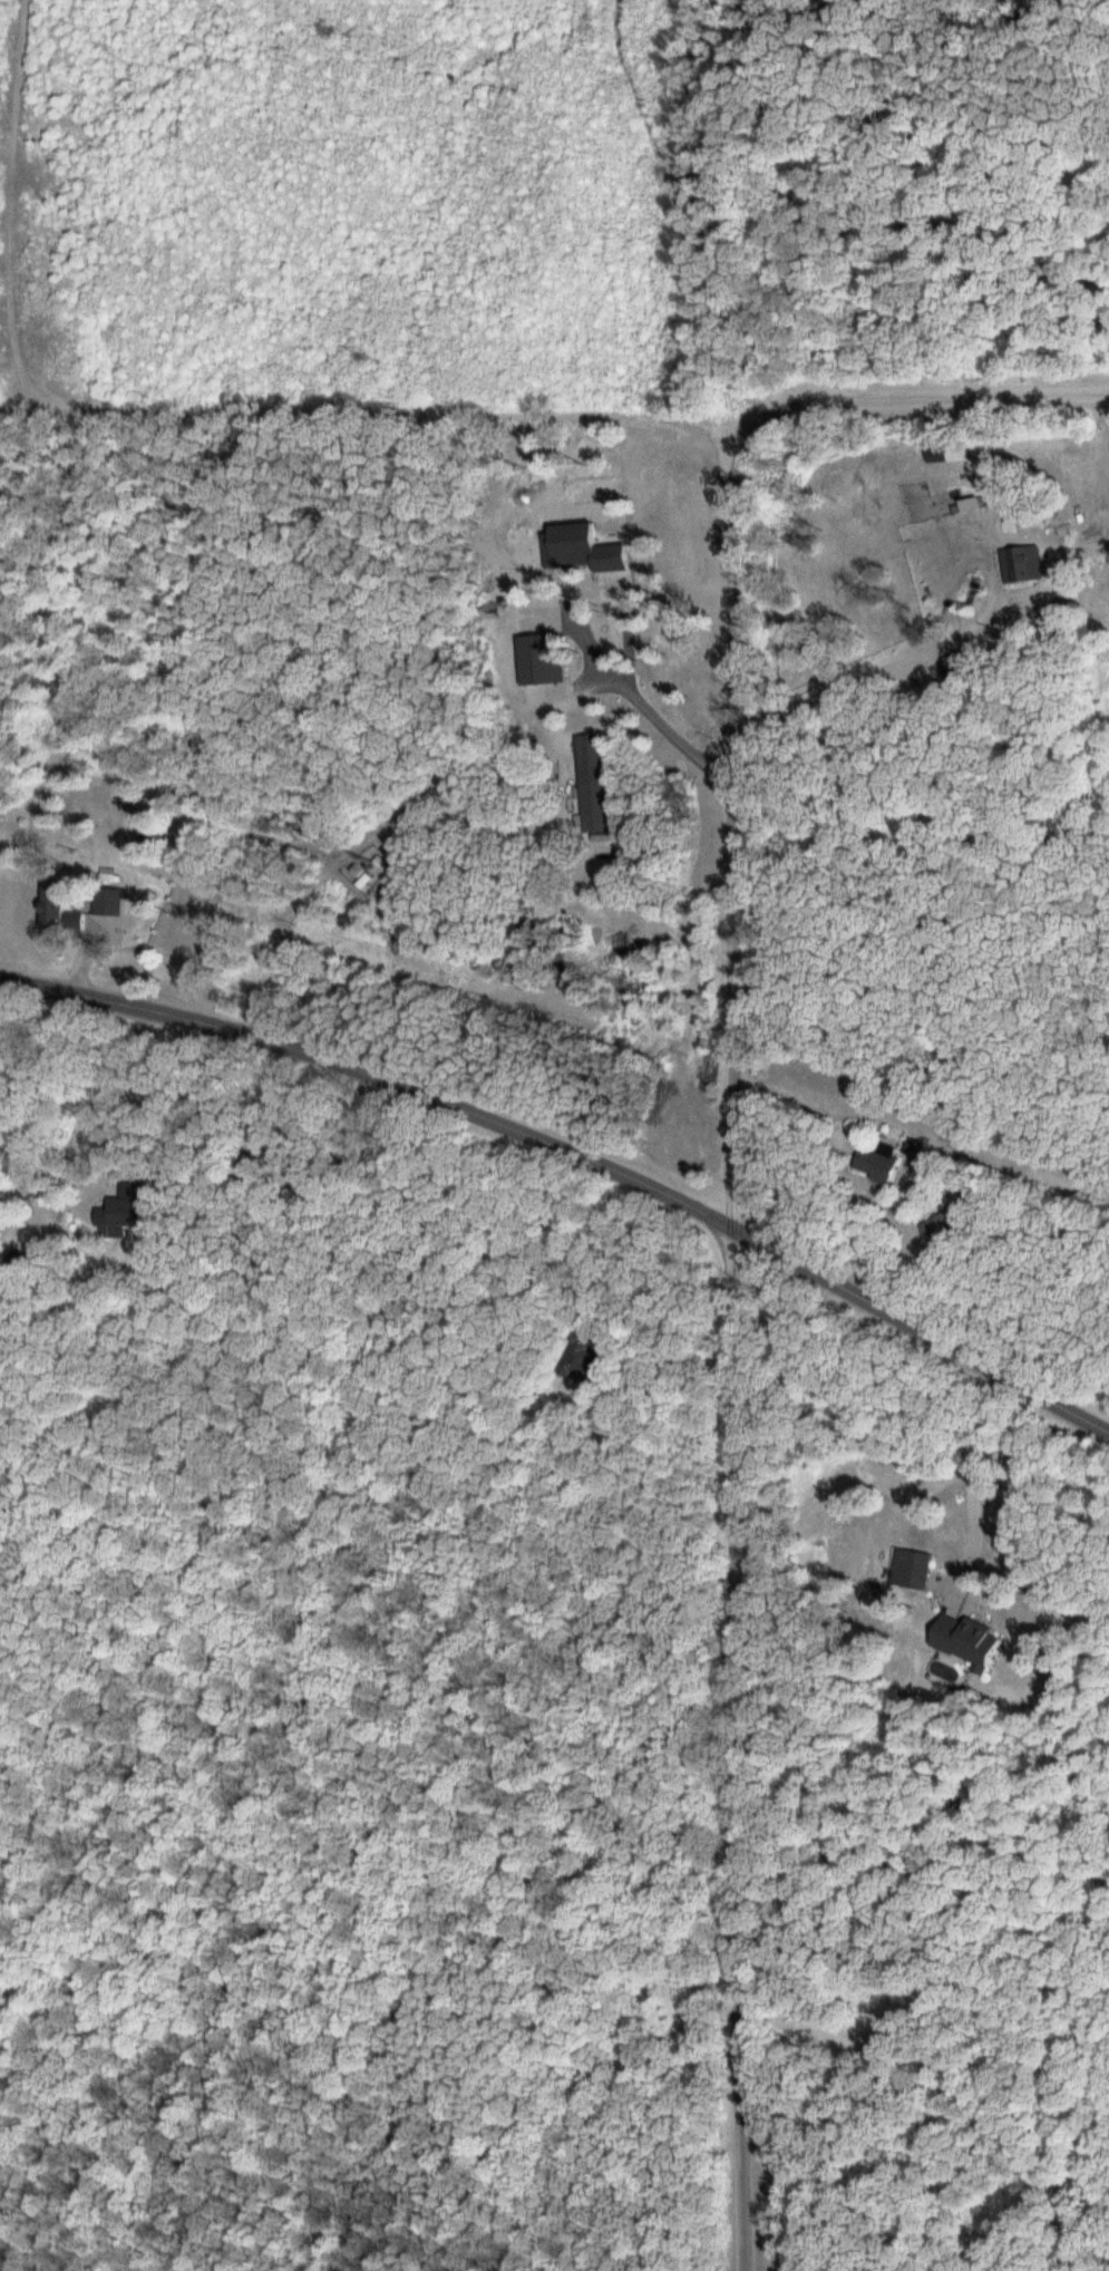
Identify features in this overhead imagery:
road: (923, 404)
road: (182, 446)
building: (950, 452)
building: (1024, 563)
road: (457, 851)
building: (64, 918)
road: (374, 1078)
road: (911, 1104)
building: (876, 1164)
building: (108, 1213)
building: (942, 1230)
road: (920, 1333)
road: (738, 1340)
building: (913, 1566)
building: (966, 1639)

